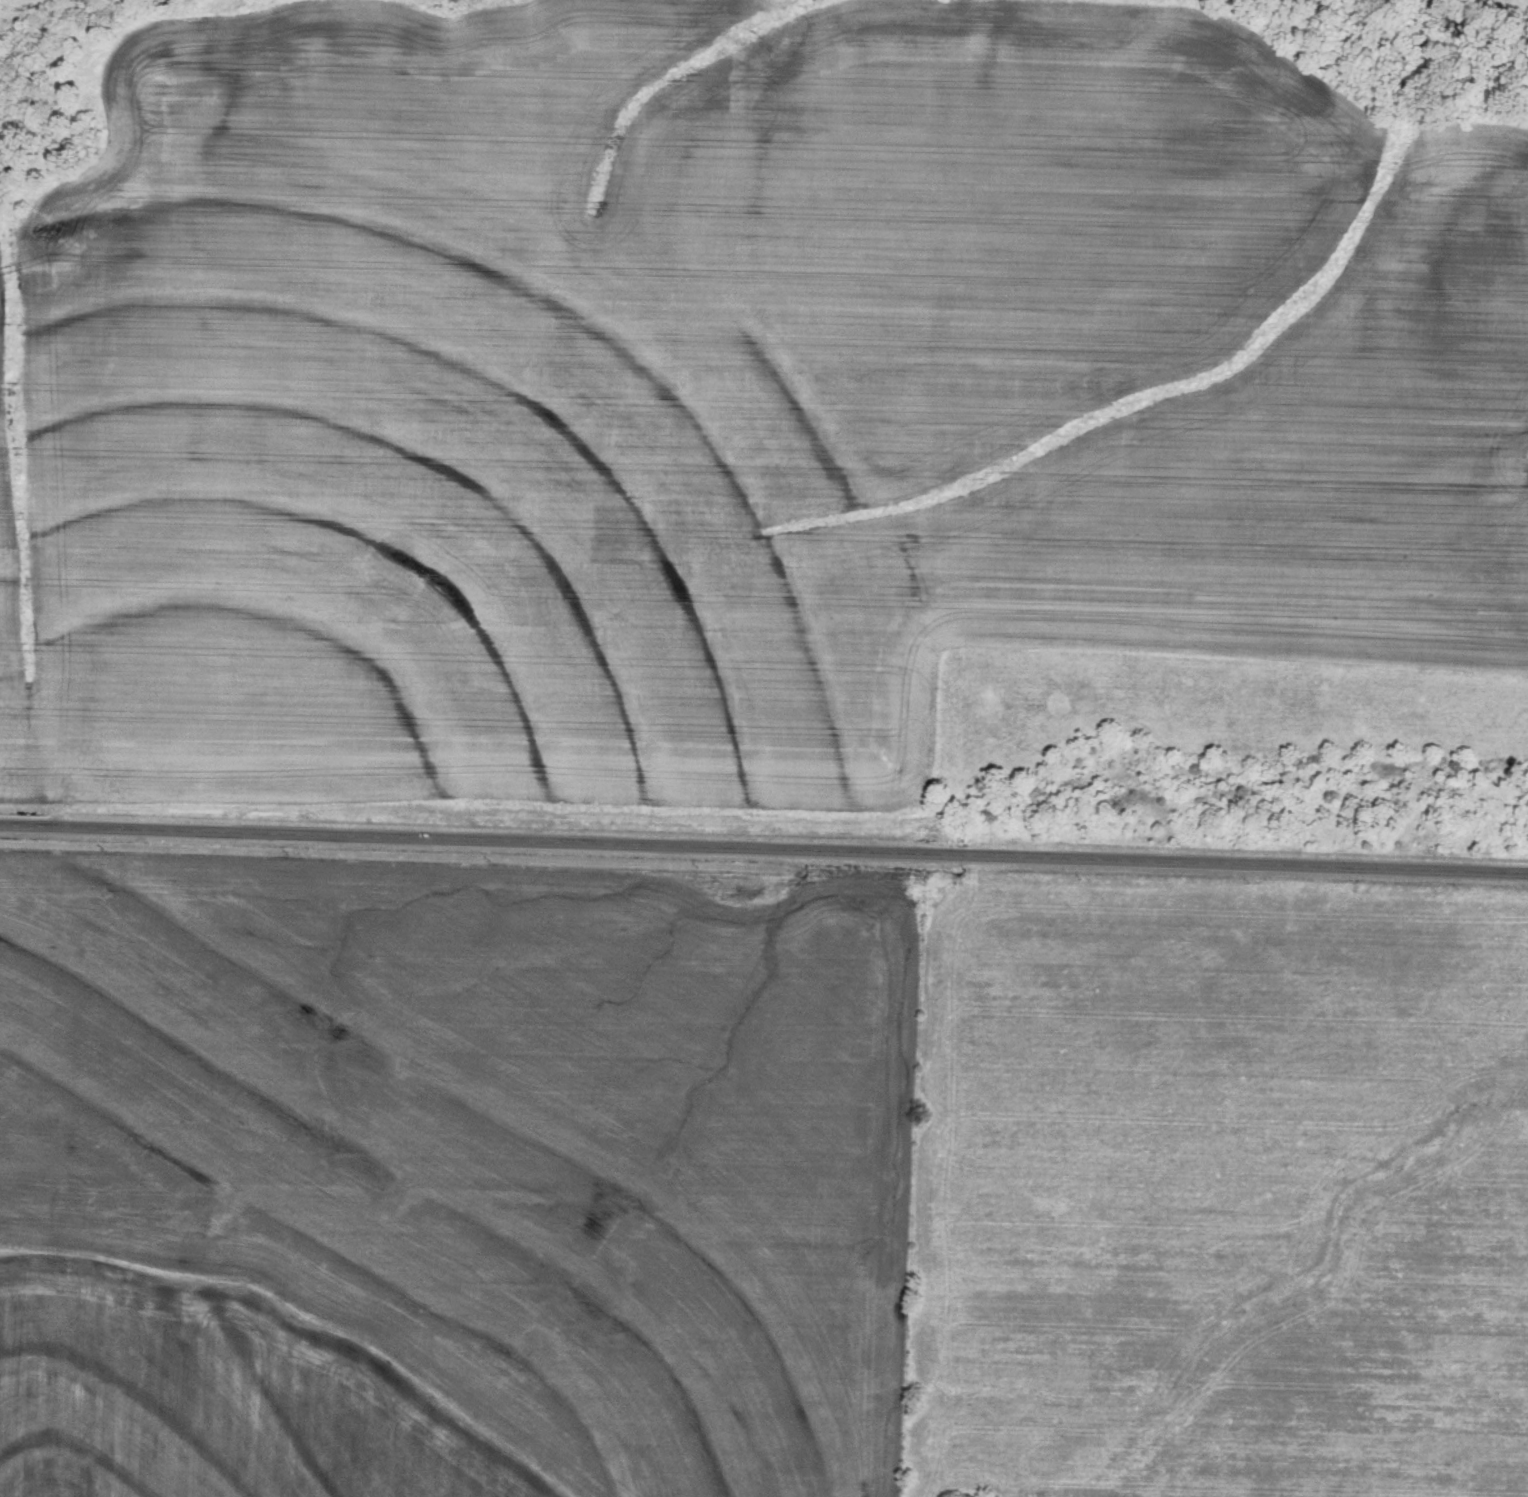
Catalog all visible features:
road: (764, 849)

